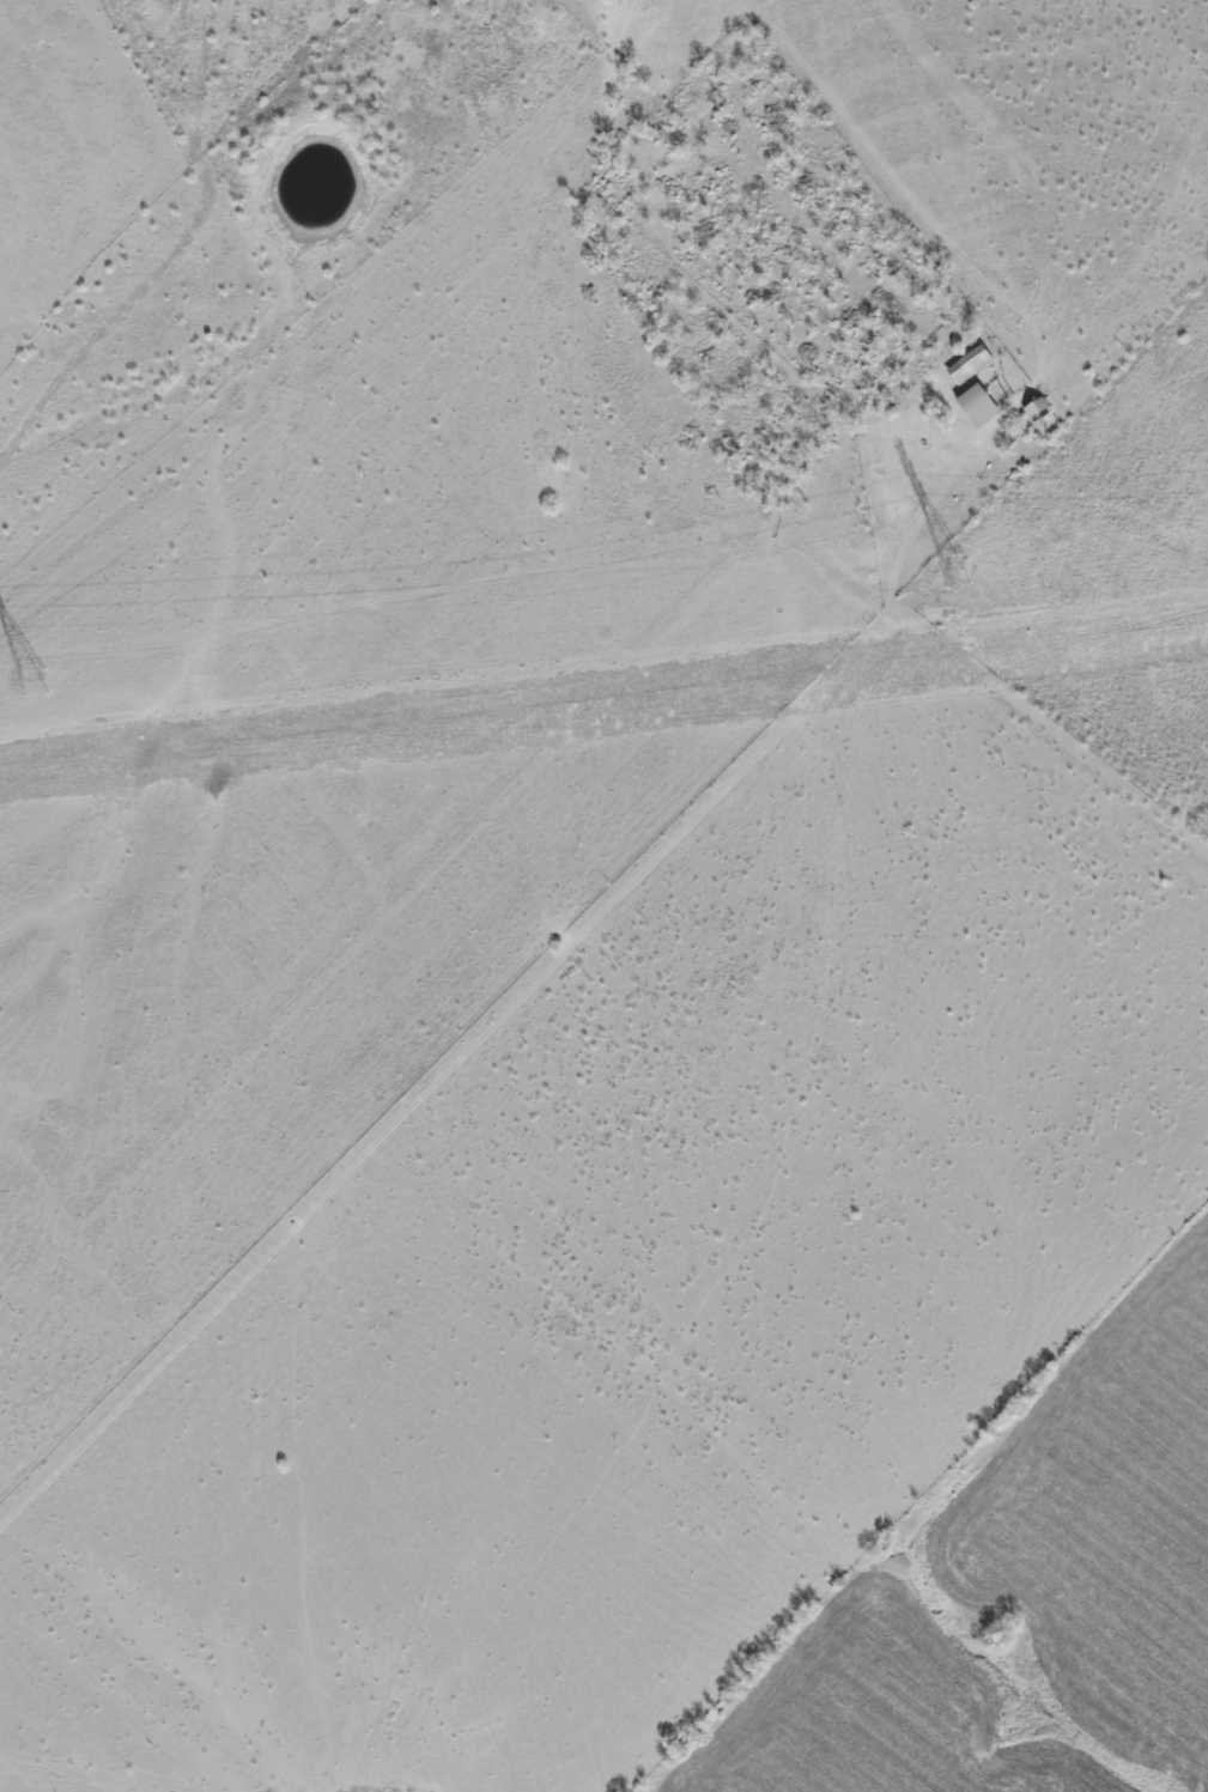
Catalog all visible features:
building: (970, 363)
building: (978, 405)
power tower: (958, 575)
road: (911, 618)
road: (280, 621)
power tower: (37, 684)

